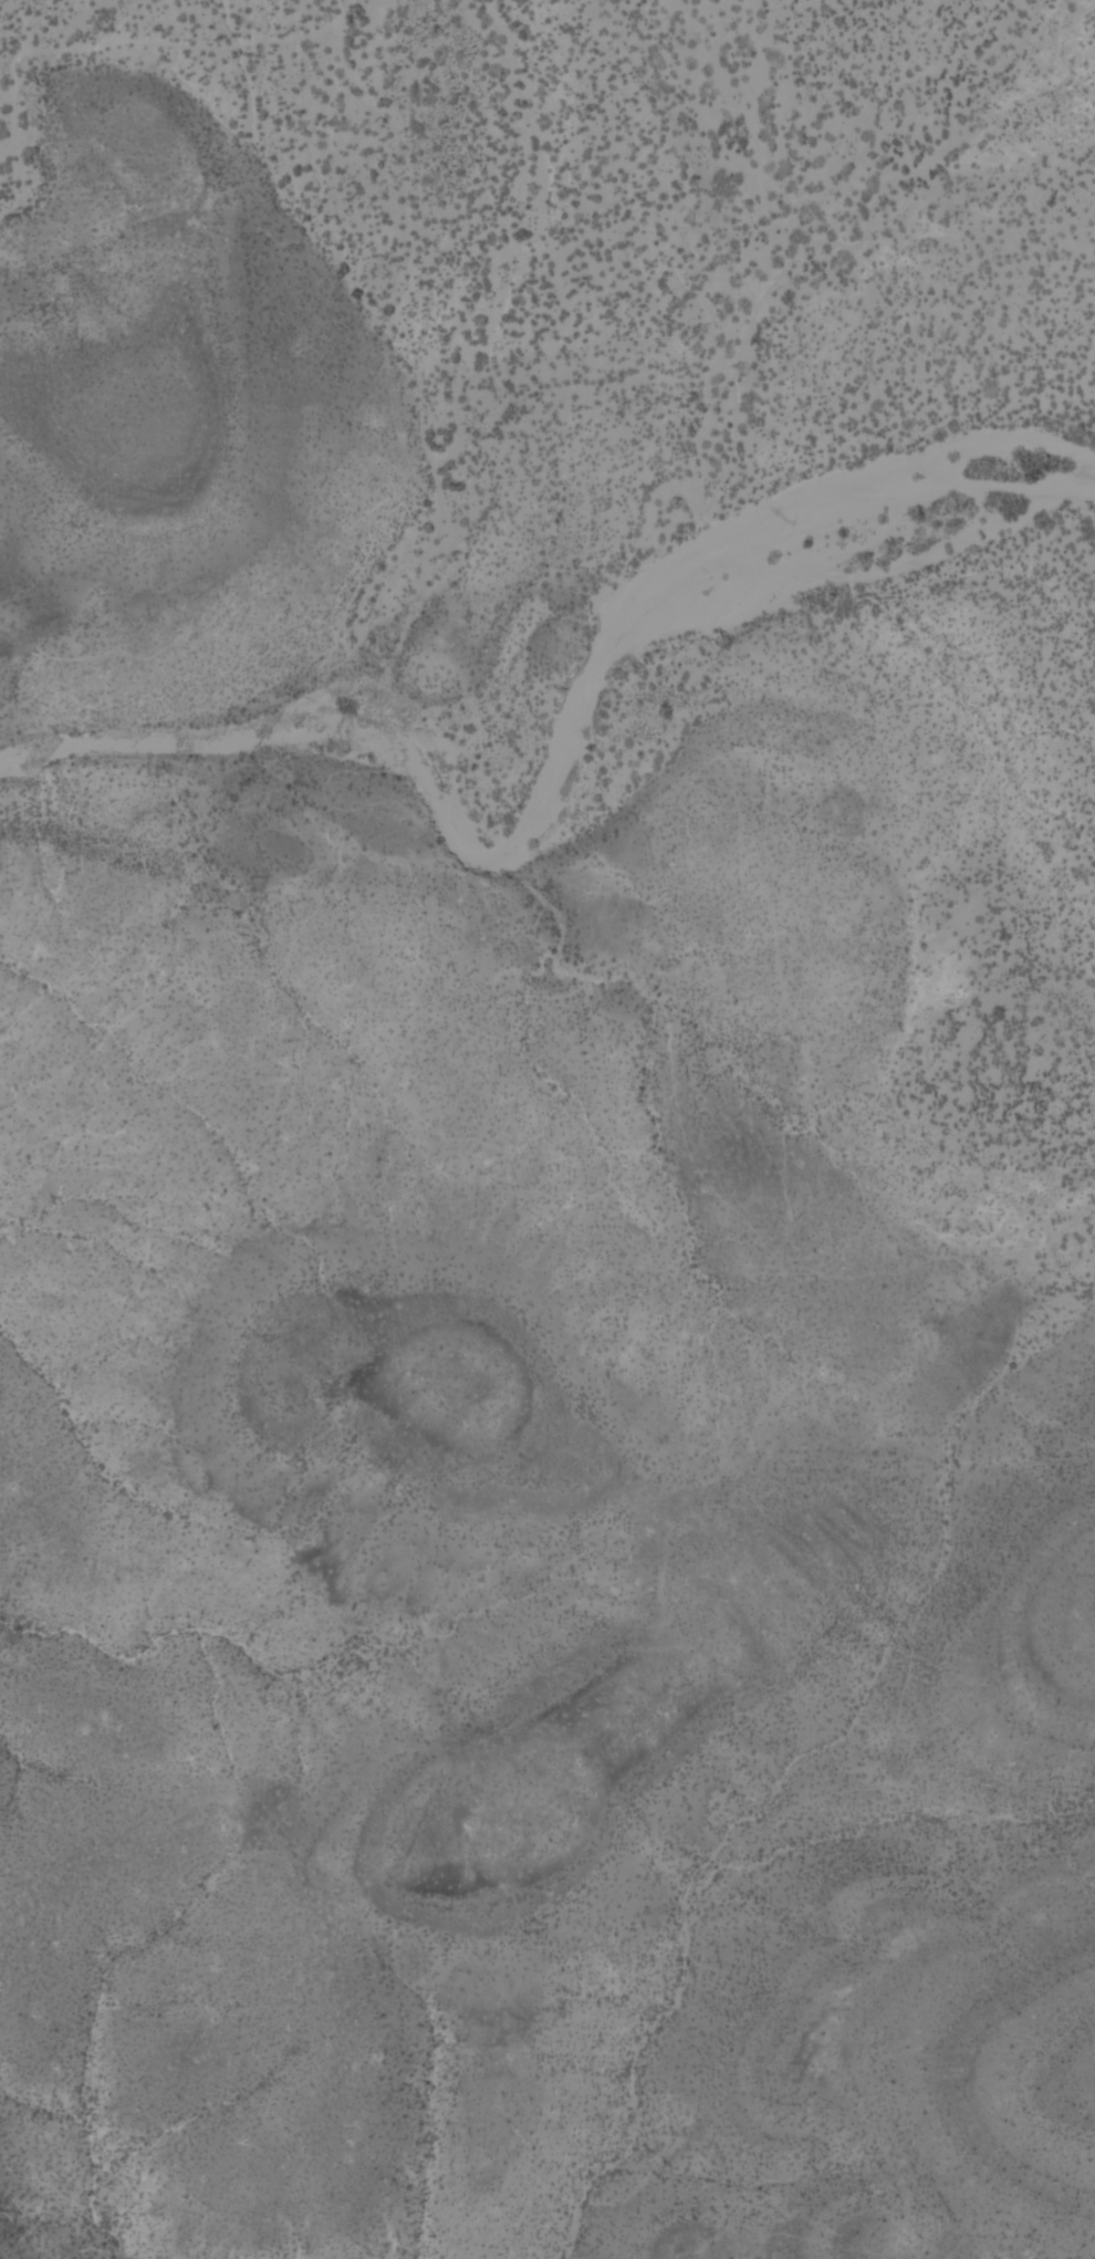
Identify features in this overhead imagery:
road: (169, 45)
road: (710, 1170)
road: (816, 2250)

